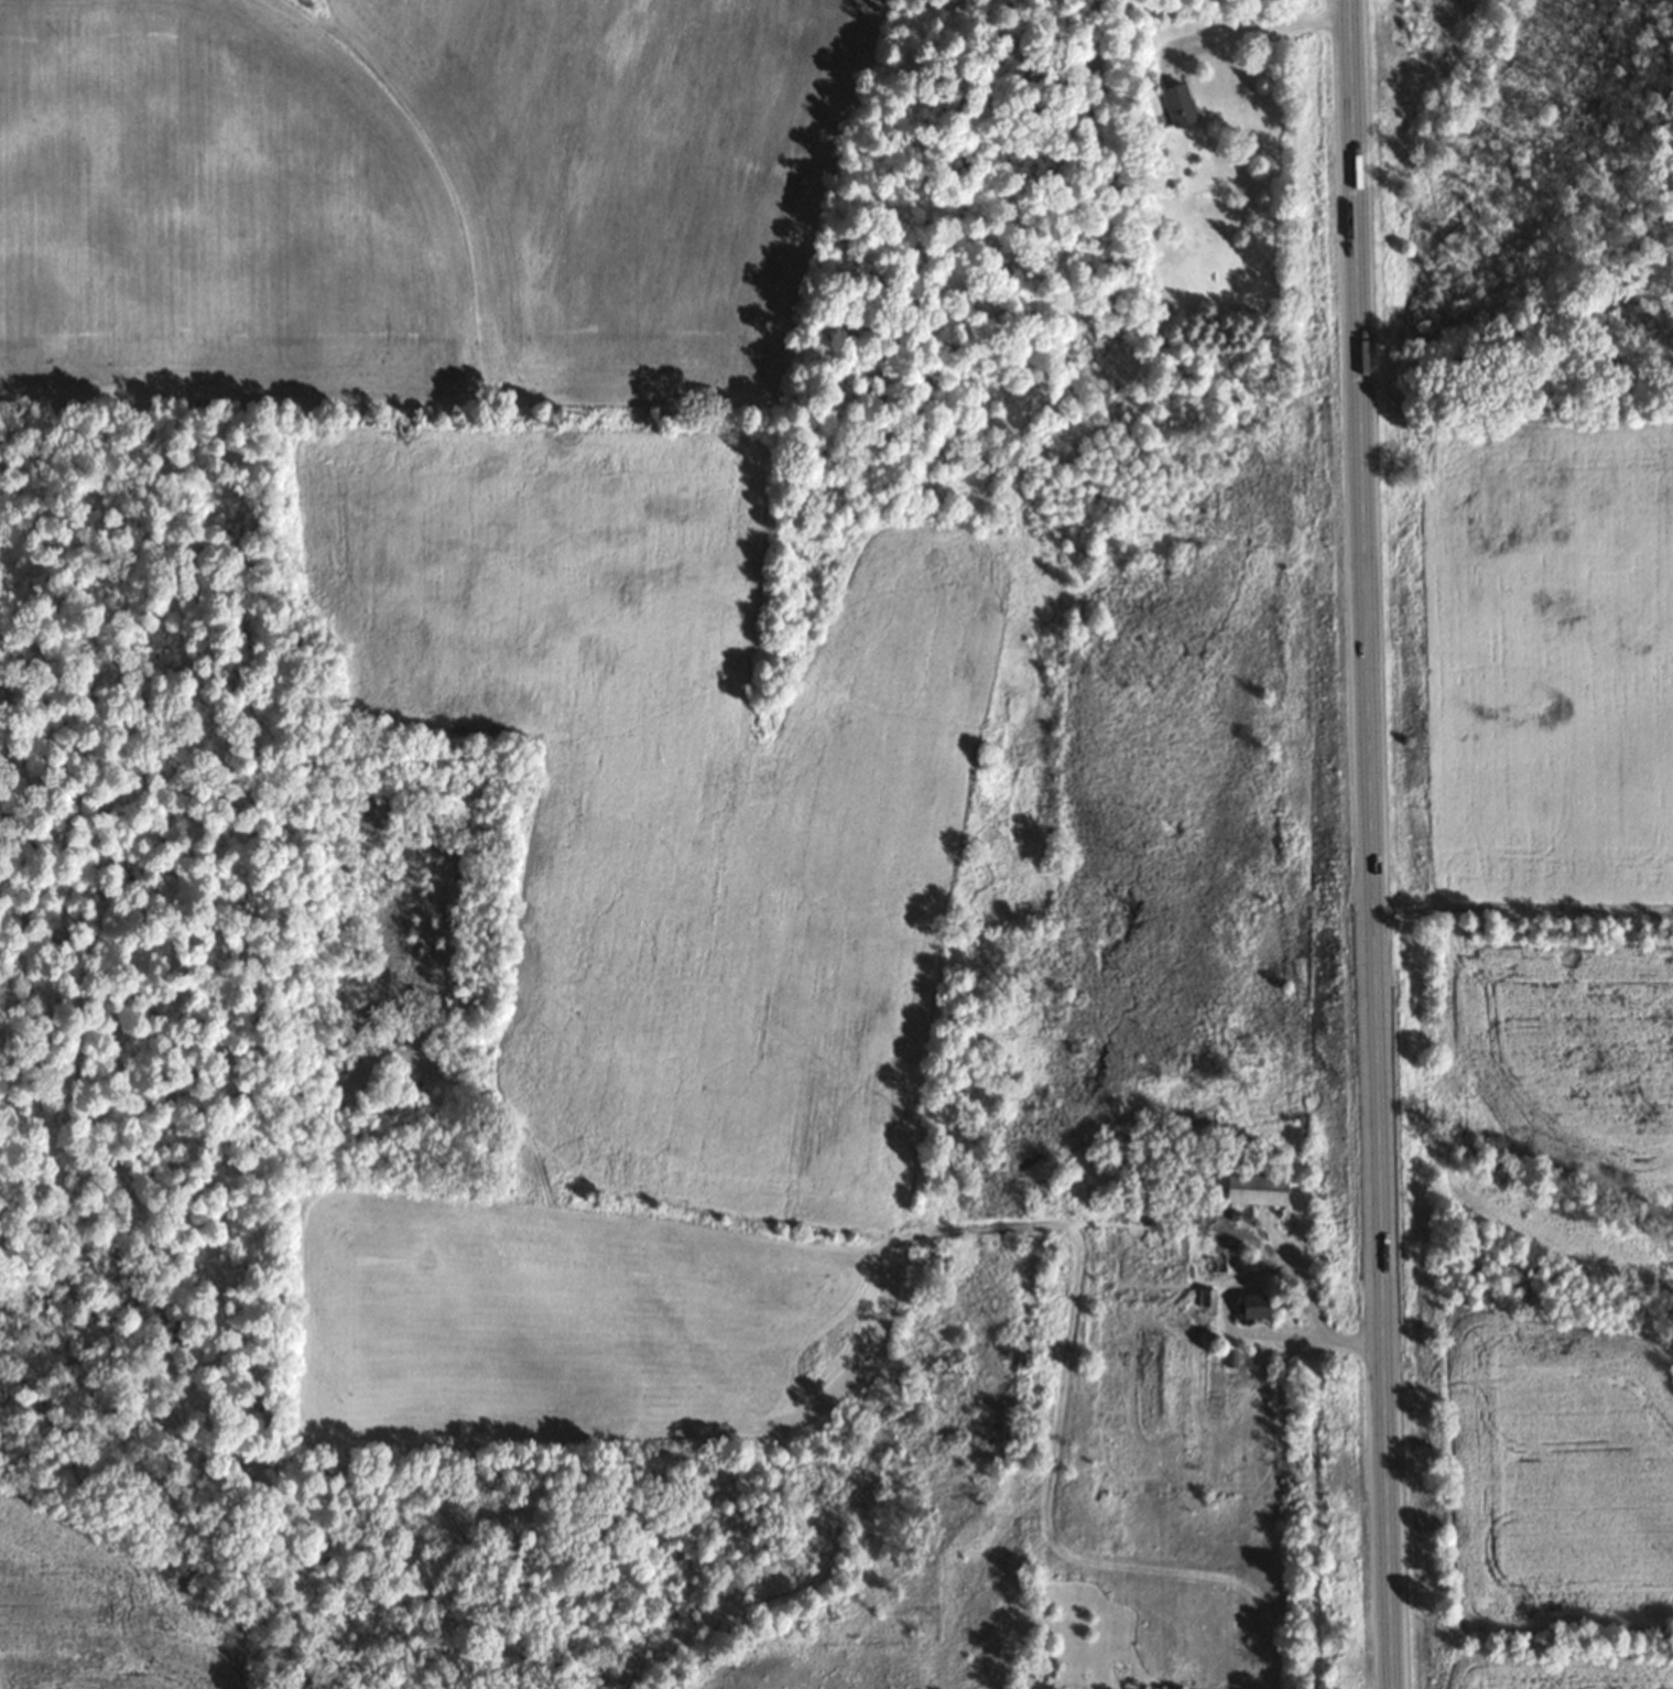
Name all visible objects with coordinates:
building: (1176, 105)
road: (1369, 844)
building: (1238, 1195)
building: (1214, 1264)
building: (1205, 1297)
building: (1252, 1304)

